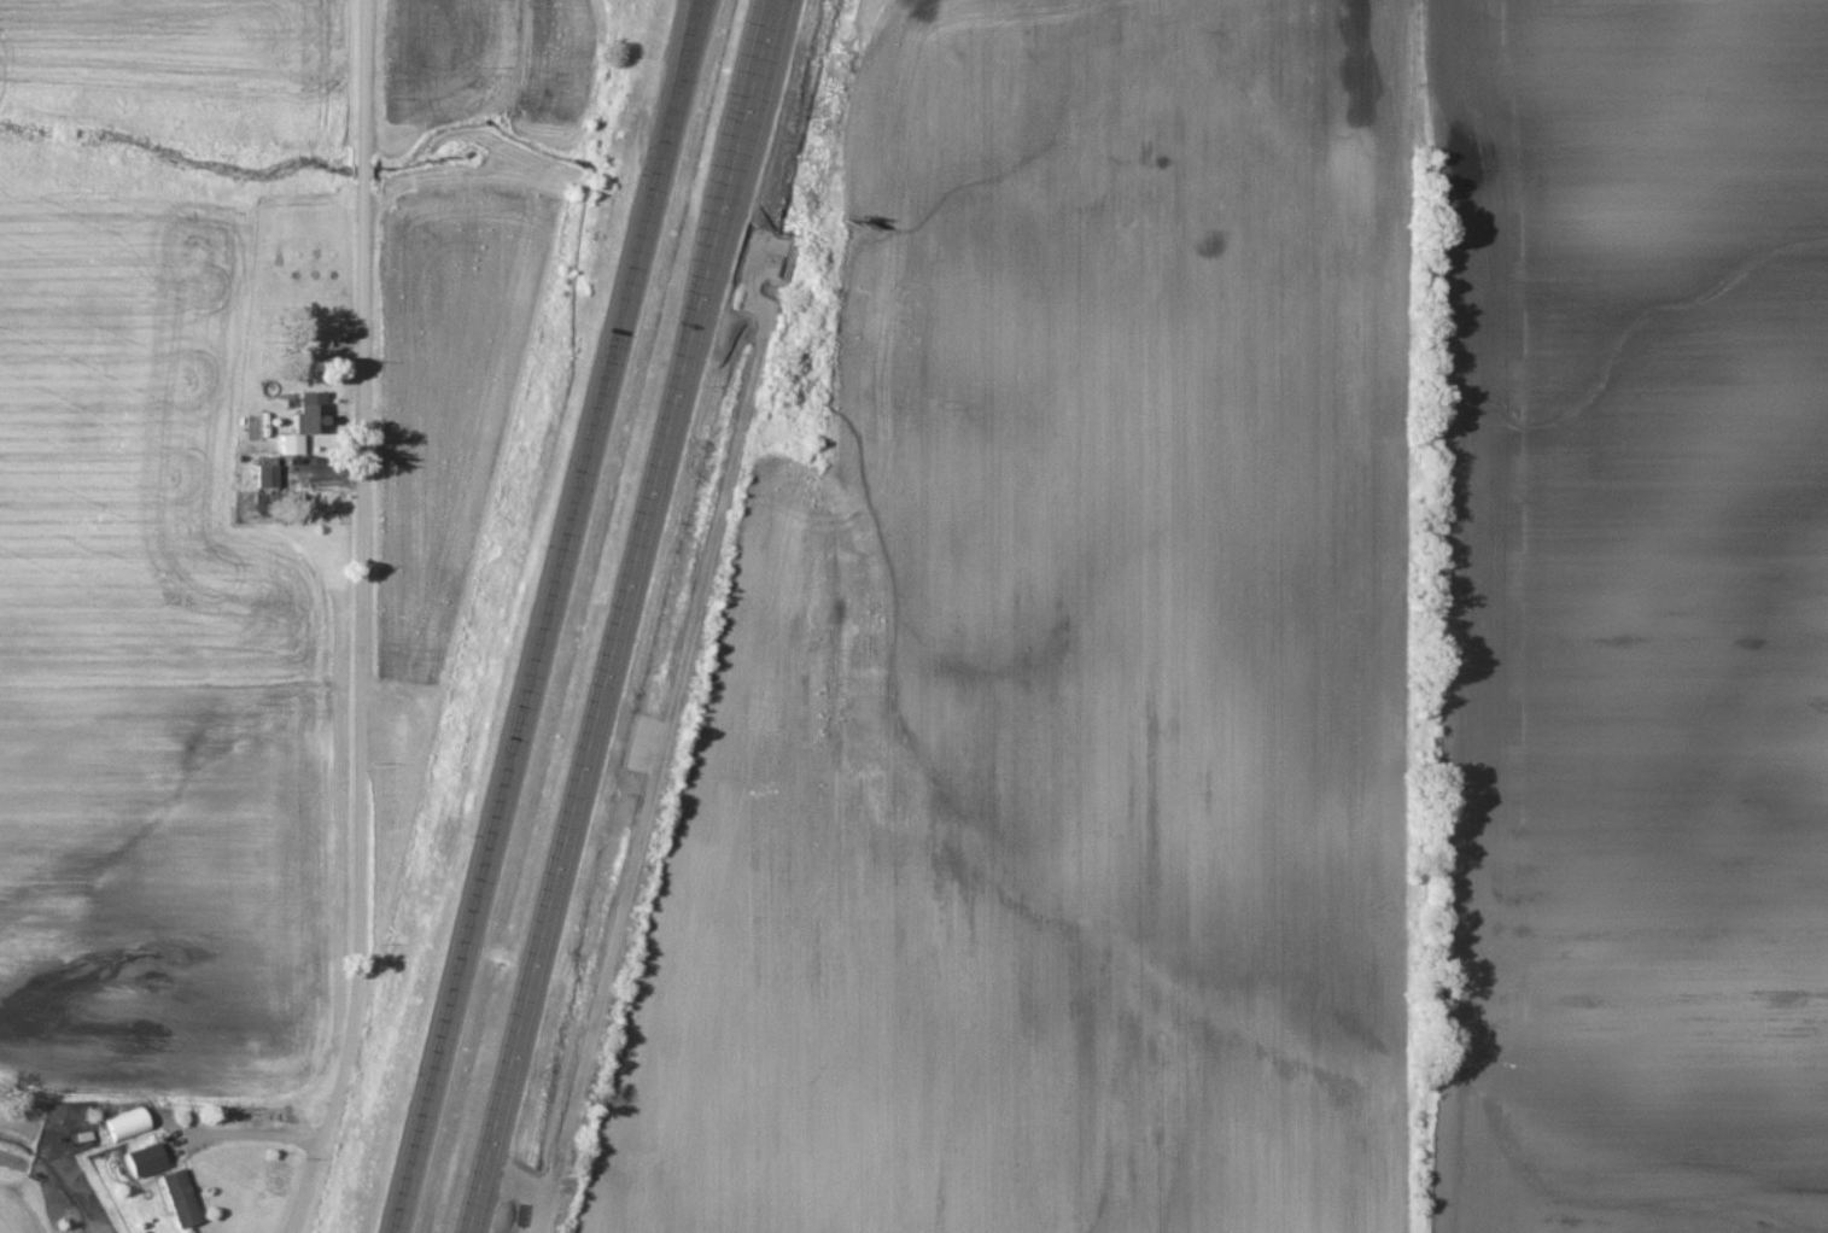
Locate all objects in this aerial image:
building: (310, 414)
building: (292, 446)
building: (265, 478)
road: (536, 615)
road: (614, 615)
road: (362, 621)
road: (245, 1134)
building: (145, 1163)
building: (179, 1202)

